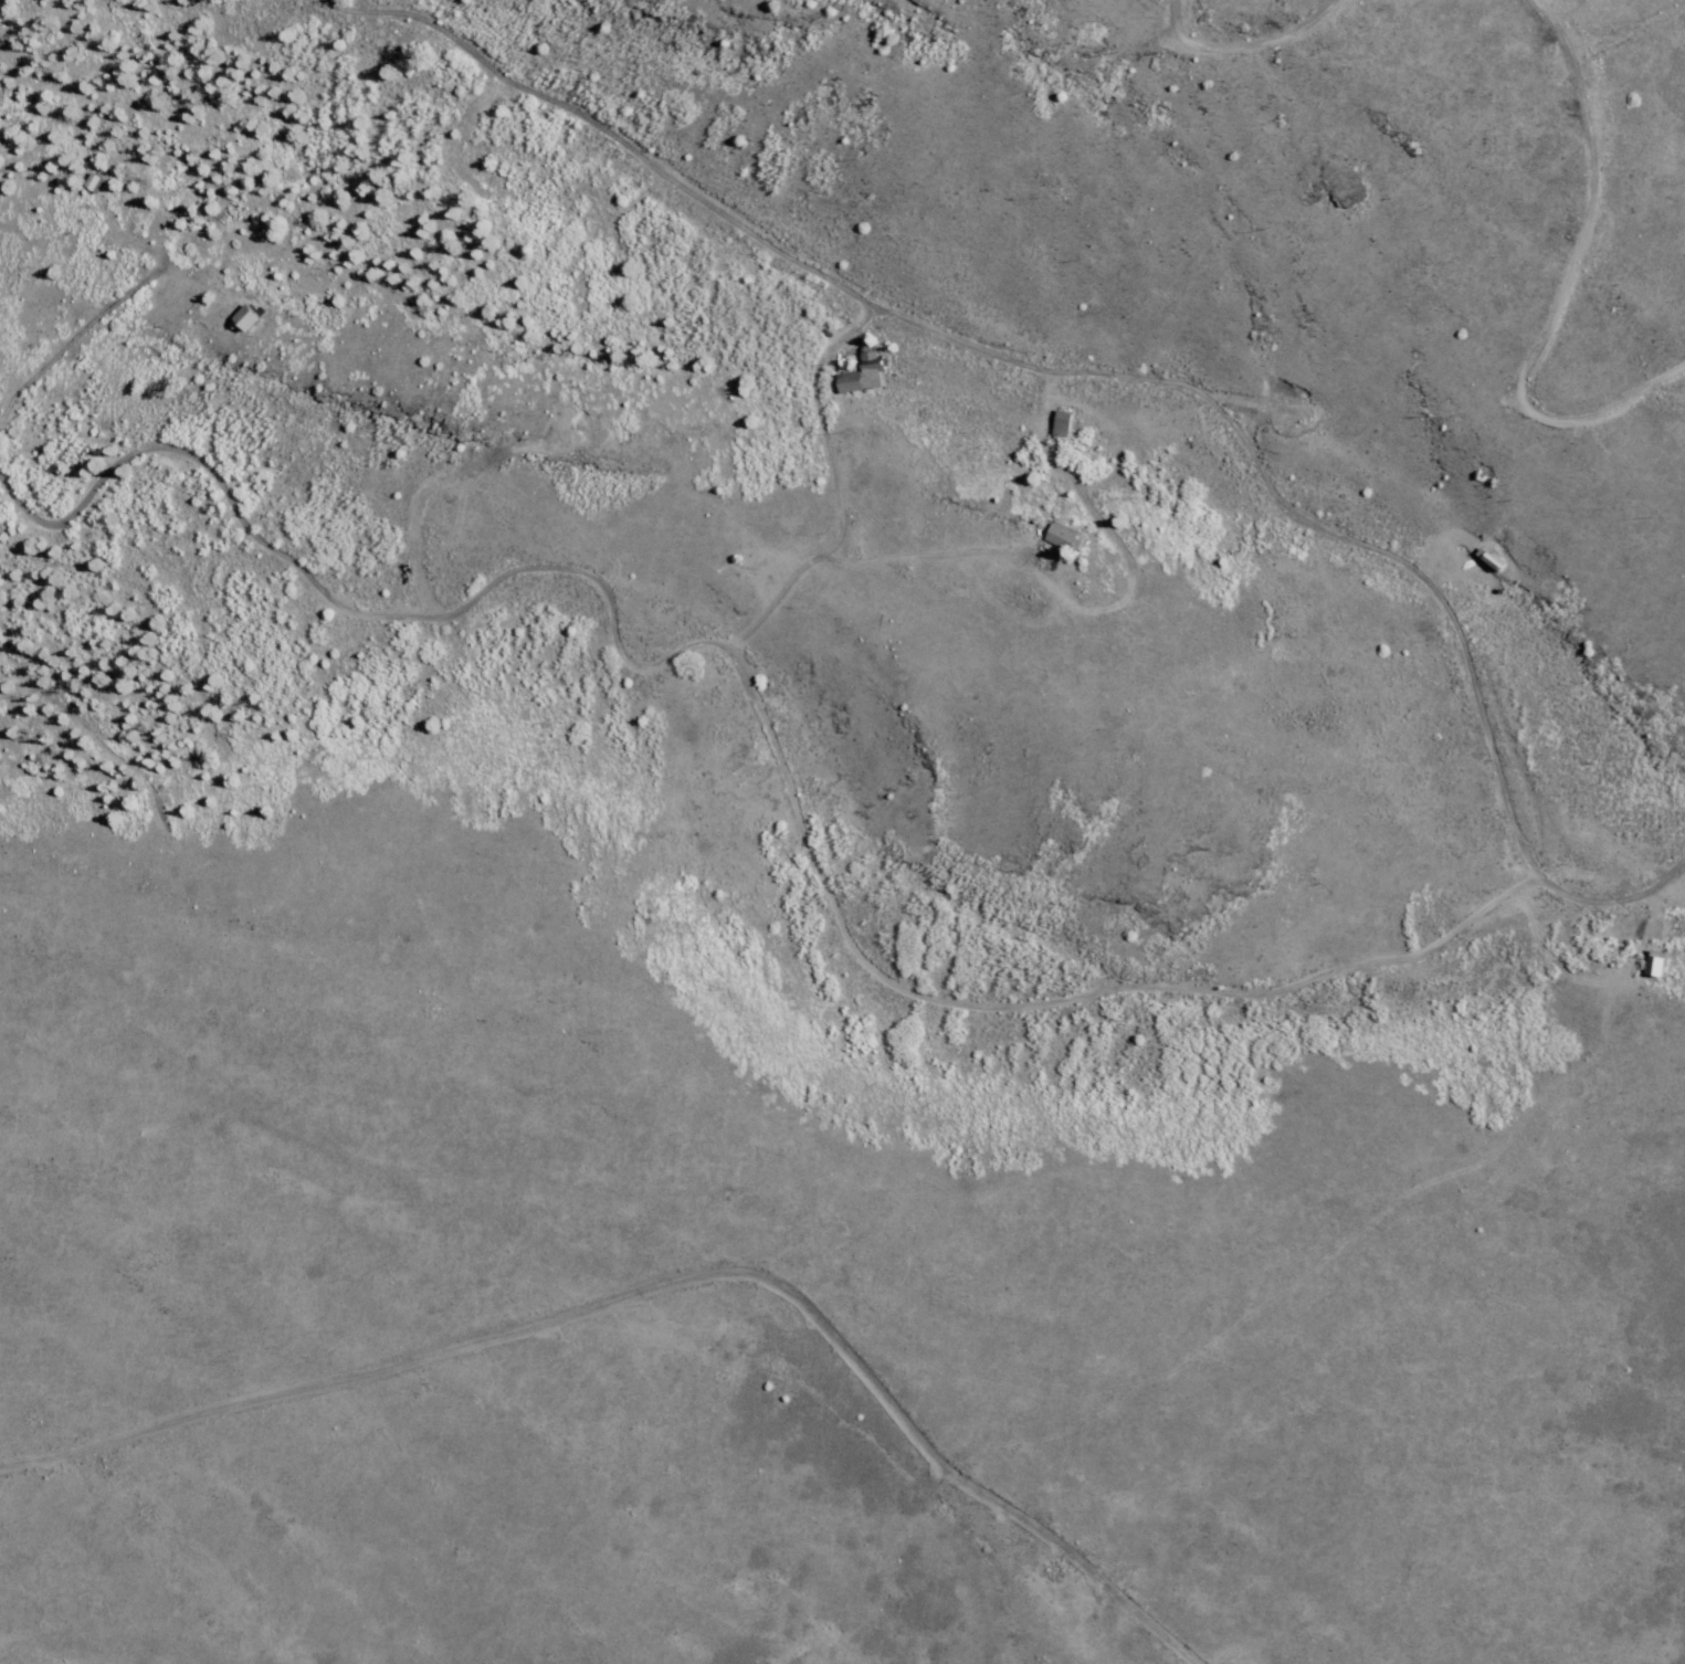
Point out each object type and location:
building: (97, 183)
building: (249, 317)
building: (864, 372)
road: (1072, 380)
building: (1061, 423)
building: (1063, 536)
road: (694, 1277)

